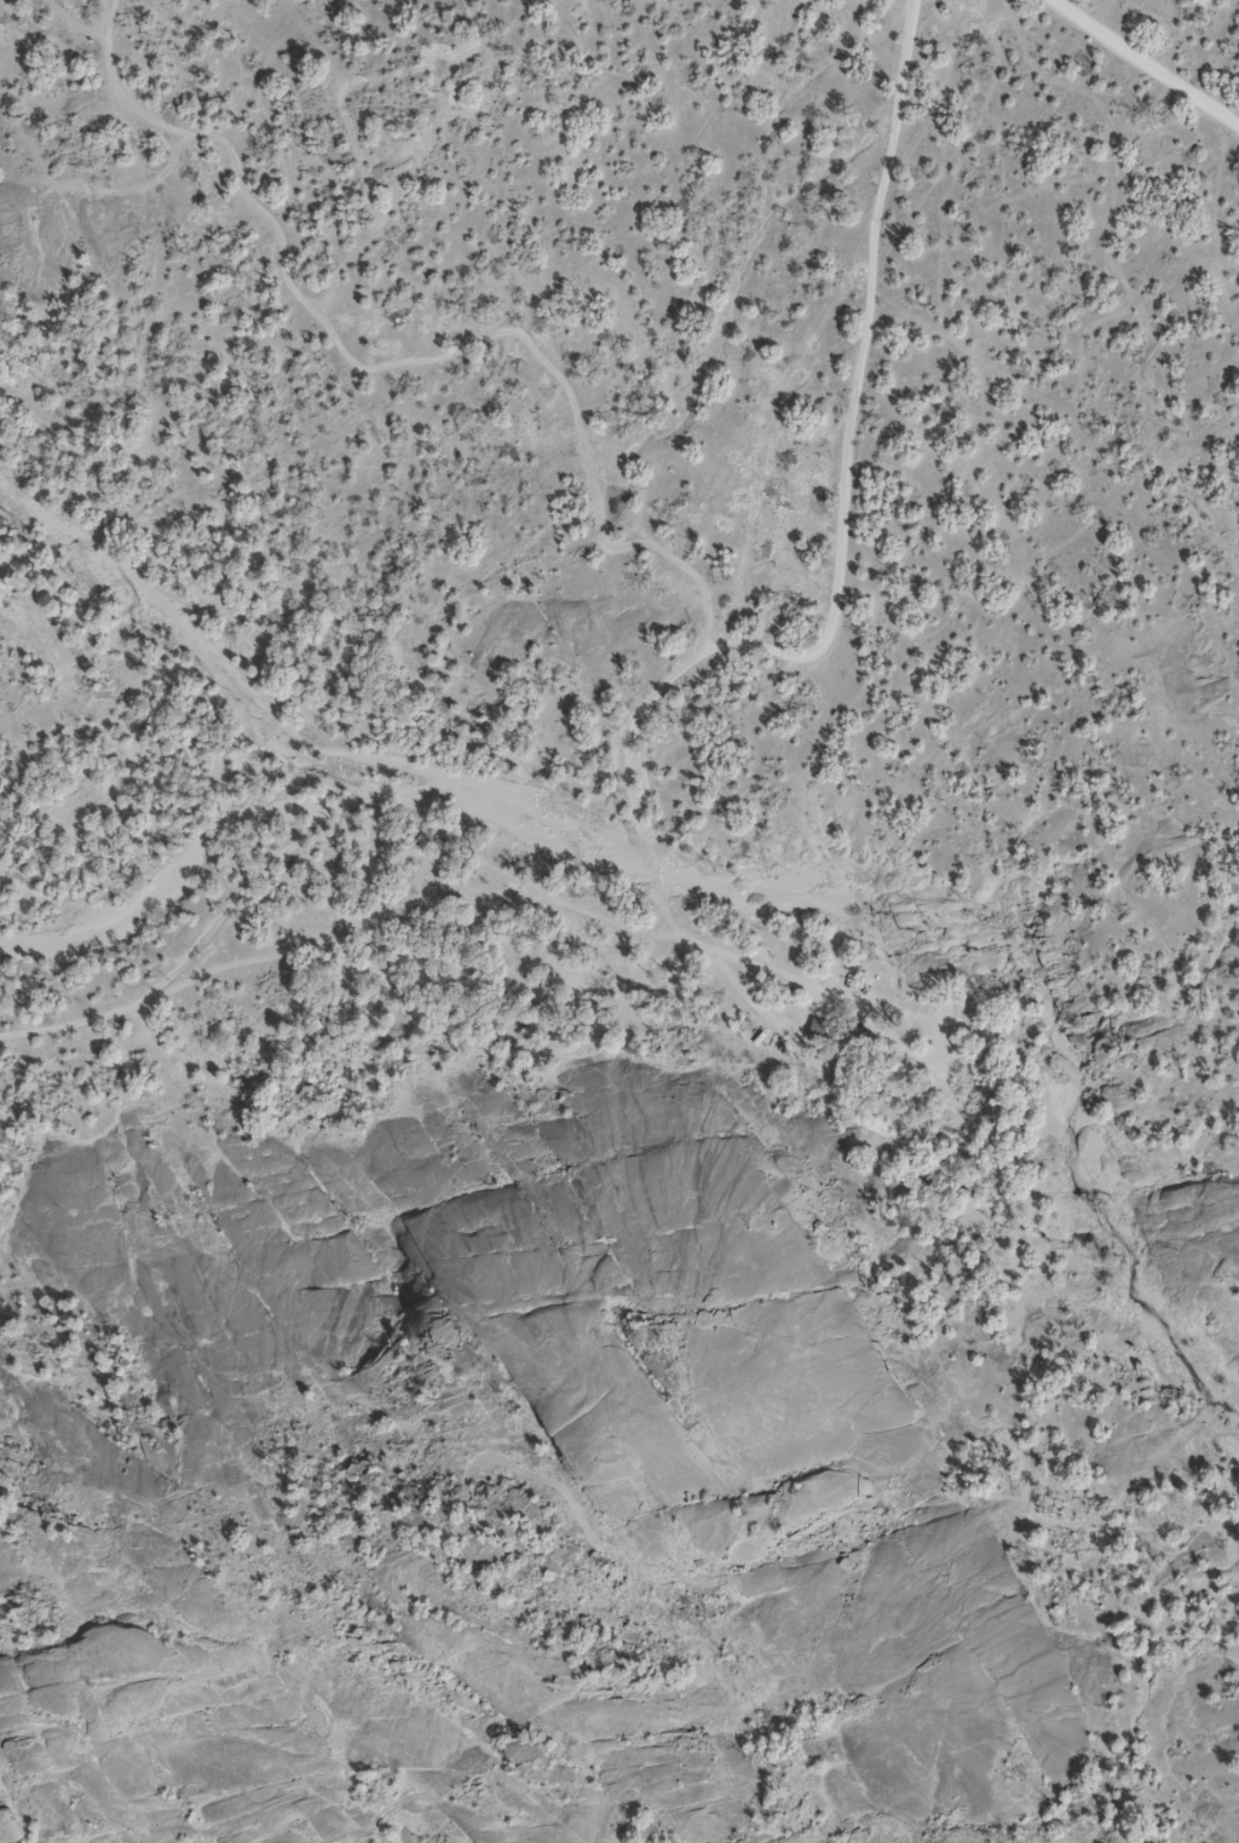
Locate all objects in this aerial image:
road: (1146, 63)
building: (817, 1032)
building: (847, 1046)

